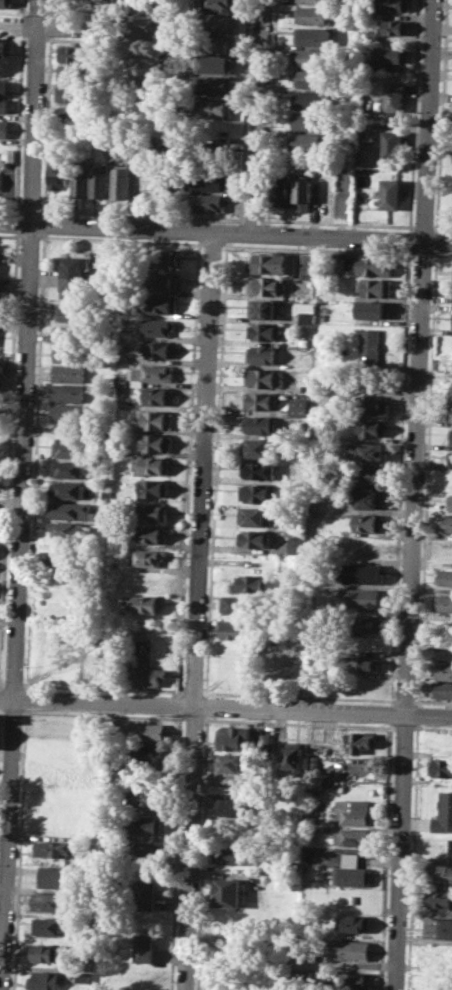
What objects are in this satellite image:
building: (105, 0)
building: (314, 1)
building: (5, 4)
building: (218, 4)
building: (392, 5)
building: (313, 14)
building: (218, 21)
building: (395, 26)
road: (99, 27)
building: (313, 36)
building: (217, 43)
building: (5, 48)
building: (79, 53)
building: (390, 53)
building: (314, 57)
building: (216, 64)
building: (148, 70)
building: (78, 74)
building: (311, 79)
building: (215, 85)
building: (4, 86)
building: (77, 94)
building: (393, 96)
building: (309, 99)
building: (4, 104)
building: (214, 108)
building: (76, 114)
road: (258, 116)
building: (308, 120)
building: (4, 127)
building: (368, 136)
building: (107, 137)
building: (345, 139)
building: (305, 140)
building: (392, 144)
building: (211, 150)
building: (10, 156)
building: (60, 173)
building: (101, 179)
building: (81, 180)
building: (206, 180)
building: (1, 181)
building: (122, 181)
building: (282, 191)
building: (303, 193)
building: (390, 193)
building: (209, 202)
road: (107, 226)
road: (235, 232)
road: (352, 237)
building: (162, 258)
building: (273, 263)
building: (308, 264)
building: (371, 265)
building: (71, 275)
building: (162, 280)
building: (267, 286)
building: (374, 287)
building: (159, 304)
building: (265, 308)
building: (373, 309)
building: (70, 313)
building: (306, 317)
building: (159, 327)
building: (263, 331)
building: (71, 333)
building: (369, 344)
building: (159, 350)
building: (71, 353)
building: (262, 354)
building: (2, 367)
building: (70, 372)
building: (154, 372)
building: (264, 377)
building: (122, 380)
building: (305, 387)
building: (69, 392)
building: (121, 392)
building: (451, 392)
building: (158, 396)
building: (261, 400)
building: (372, 405)
building: (299, 407)
building: (451, 411)
building: (68, 412)
building: (157, 419)
building: (262, 424)
building: (372, 428)
building: (451, 437)
building: (157, 442)
building: (259, 447)
building: (69, 449)
building: (370, 452)
building: (450, 459)
building: (152, 464)
building: (69, 468)
building: (259, 470)
building: (368, 476)
building: (154, 487)
building: (68, 489)
building: (258, 493)
road: (413, 494)
road: (21, 495)
building: (368, 499)
building: (449, 502)
building: (70, 510)
building: (152, 512)
building: (256, 516)
building: (369, 523)
building: (445, 523)
building: (70, 529)
building: (153, 534)
building: (256, 538)
building: (295, 546)
building: (148, 556)
building: (68, 563)
building: (364, 573)
building: (444, 577)
building: (254, 583)
building: (359, 597)
building: (444, 602)
building: (148, 603)
building: (239, 604)
road: (198, 610)
building: (364, 624)
building: (237, 629)
building: (443, 654)
building: (357, 663)
building: (443, 671)
building: (149, 675)
building: (442, 690)
road: (226, 706)
building: (146, 731)
building: (236, 737)
building: (265, 740)
building: (360, 740)
building: (148, 753)
road: (6, 754)
building: (294, 757)
building: (233, 762)
building: (440, 766)
building: (144, 797)
building: (229, 806)
building: (355, 811)
building: (443, 812)
building: (145, 824)
building: (354, 836)
building: (53, 849)
building: (143, 849)
building: (231, 854)
building: (354, 871)
building: (441, 872)
building: (61, 877)
building: (227, 892)
building: (145, 895)
building: (440, 898)
building: (48, 901)
building: (355, 923)
building: (47, 926)
building: (438, 927)
building: (143, 948)
building: (350, 949)
building: (45, 953)
building: (83, 977)
building: (43, 980)
building: (355, 981)

